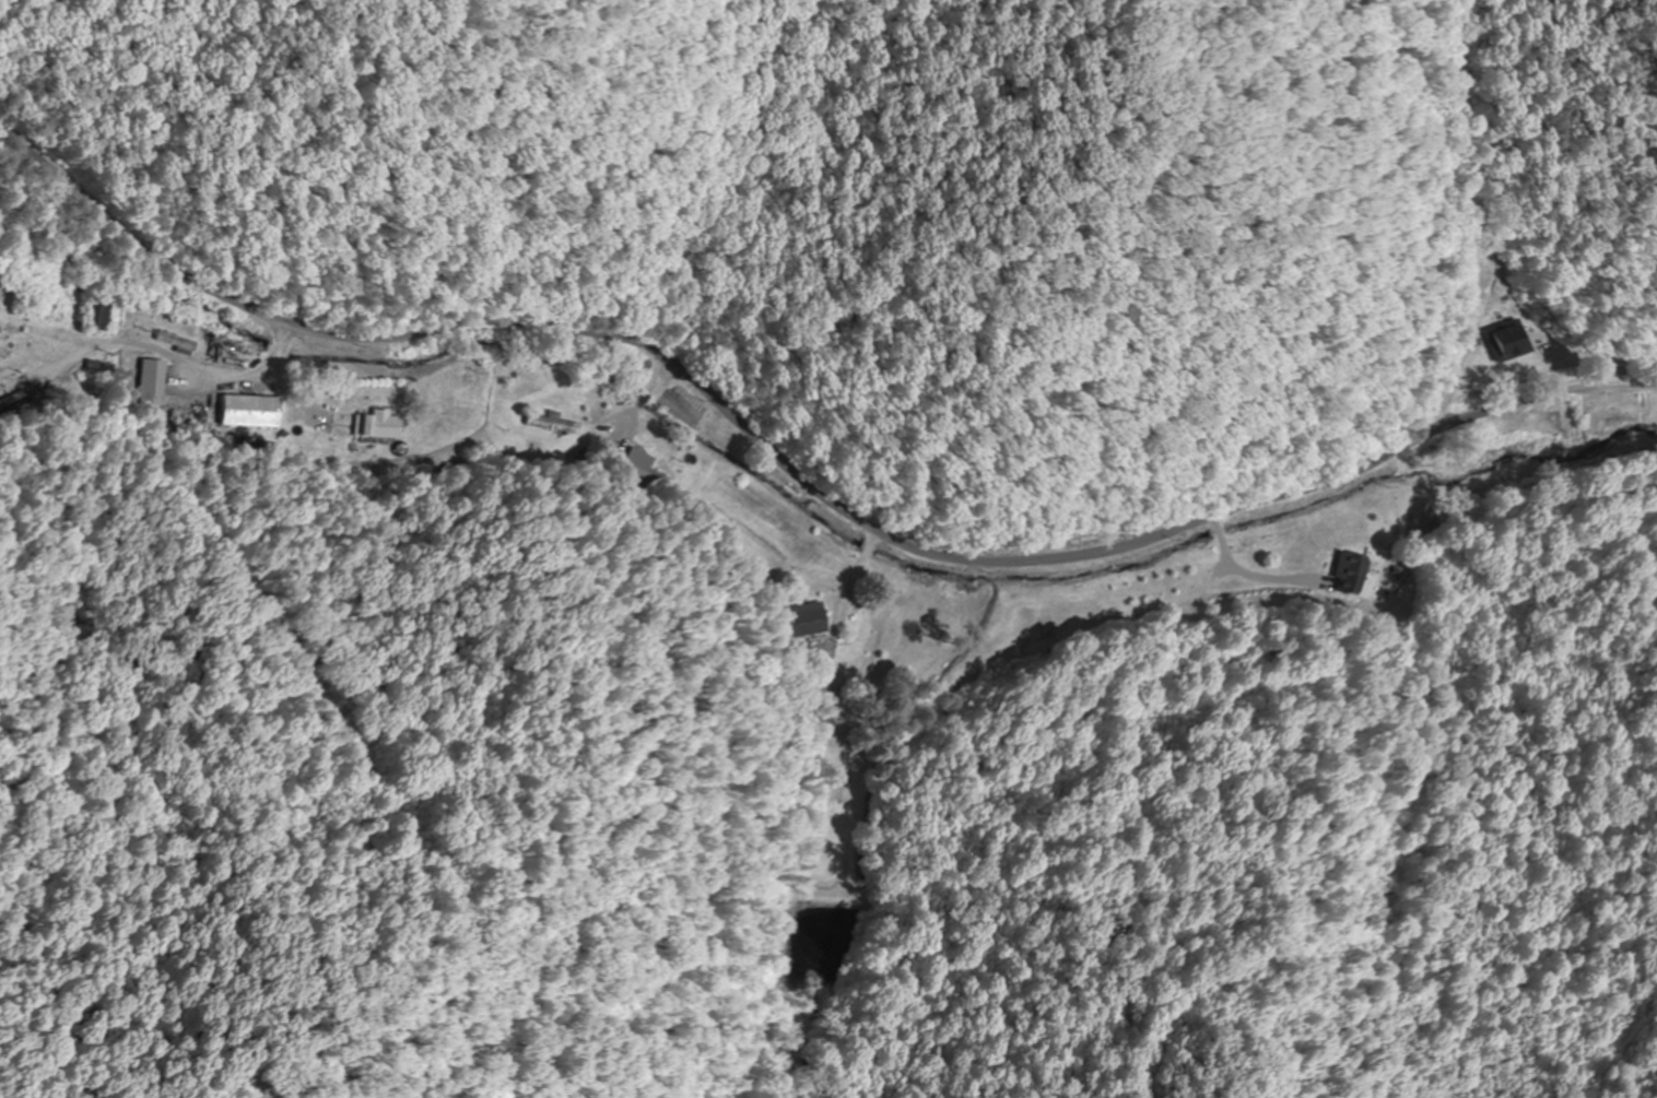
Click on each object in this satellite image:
building: (30, 271)
building: (96, 312)
road: (9, 332)
building: (174, 342)
building: (1504, 342)
road: (191, 367)
building: (151, 385)
building: (248, 412)
building: (553, 425)
building: (374, 426)
building: (649, 472)
road: (799, 474)
building: (1348, 571)
building: (804, 621)
road: (988, 828)

